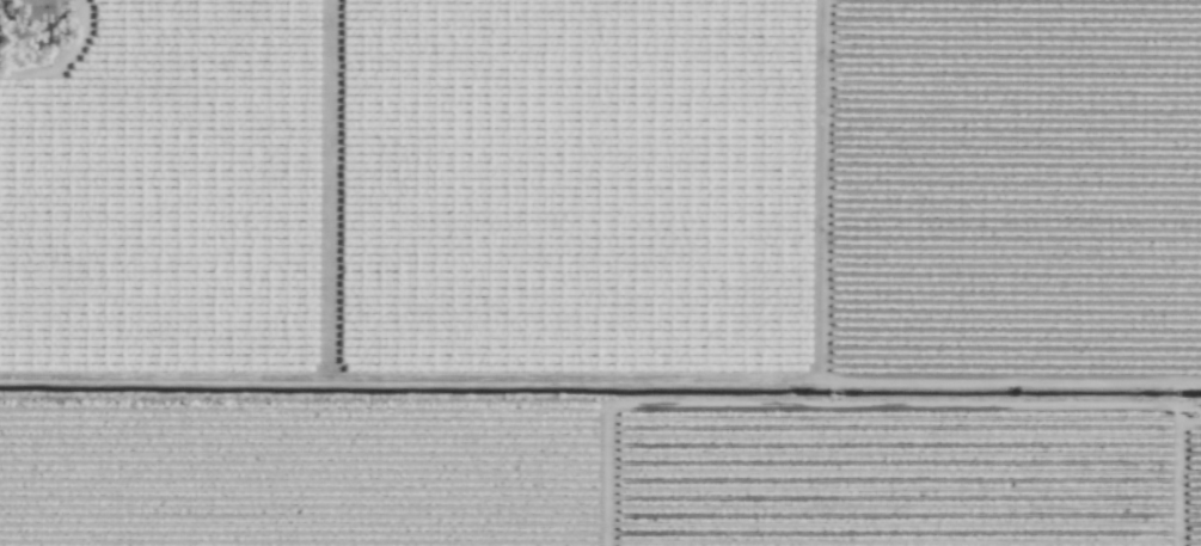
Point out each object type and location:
building: (35, 10)

